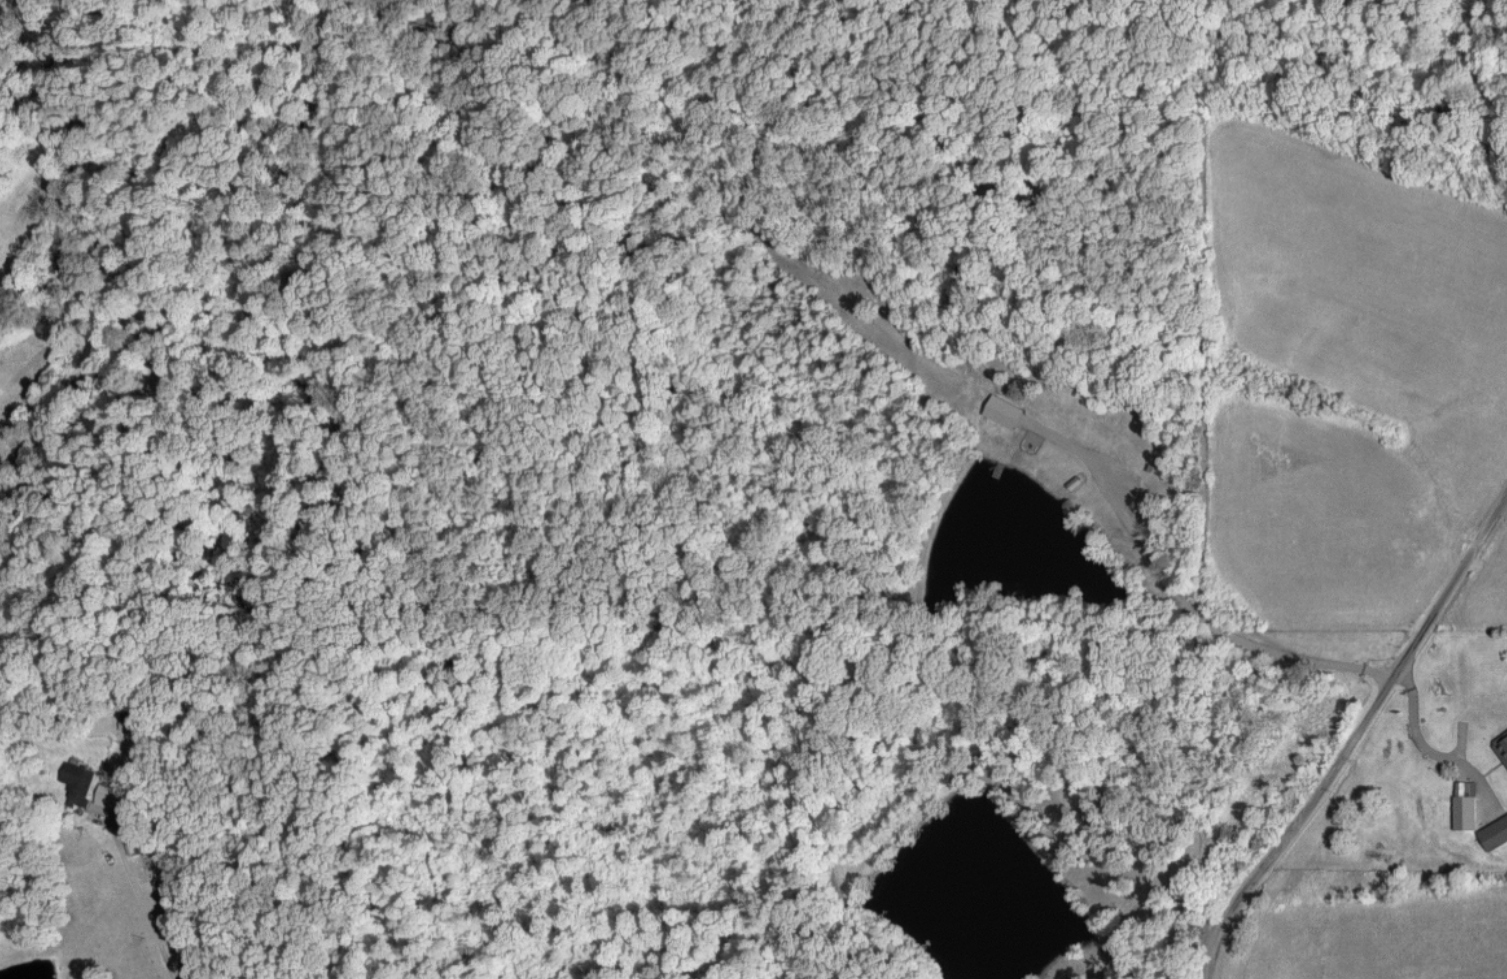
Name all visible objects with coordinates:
building: (1003, 410)
road: (1357, 742)
building: (1502, 747)
building: (78, 782)
building: (1465, 812)
building: (1494, 833)

